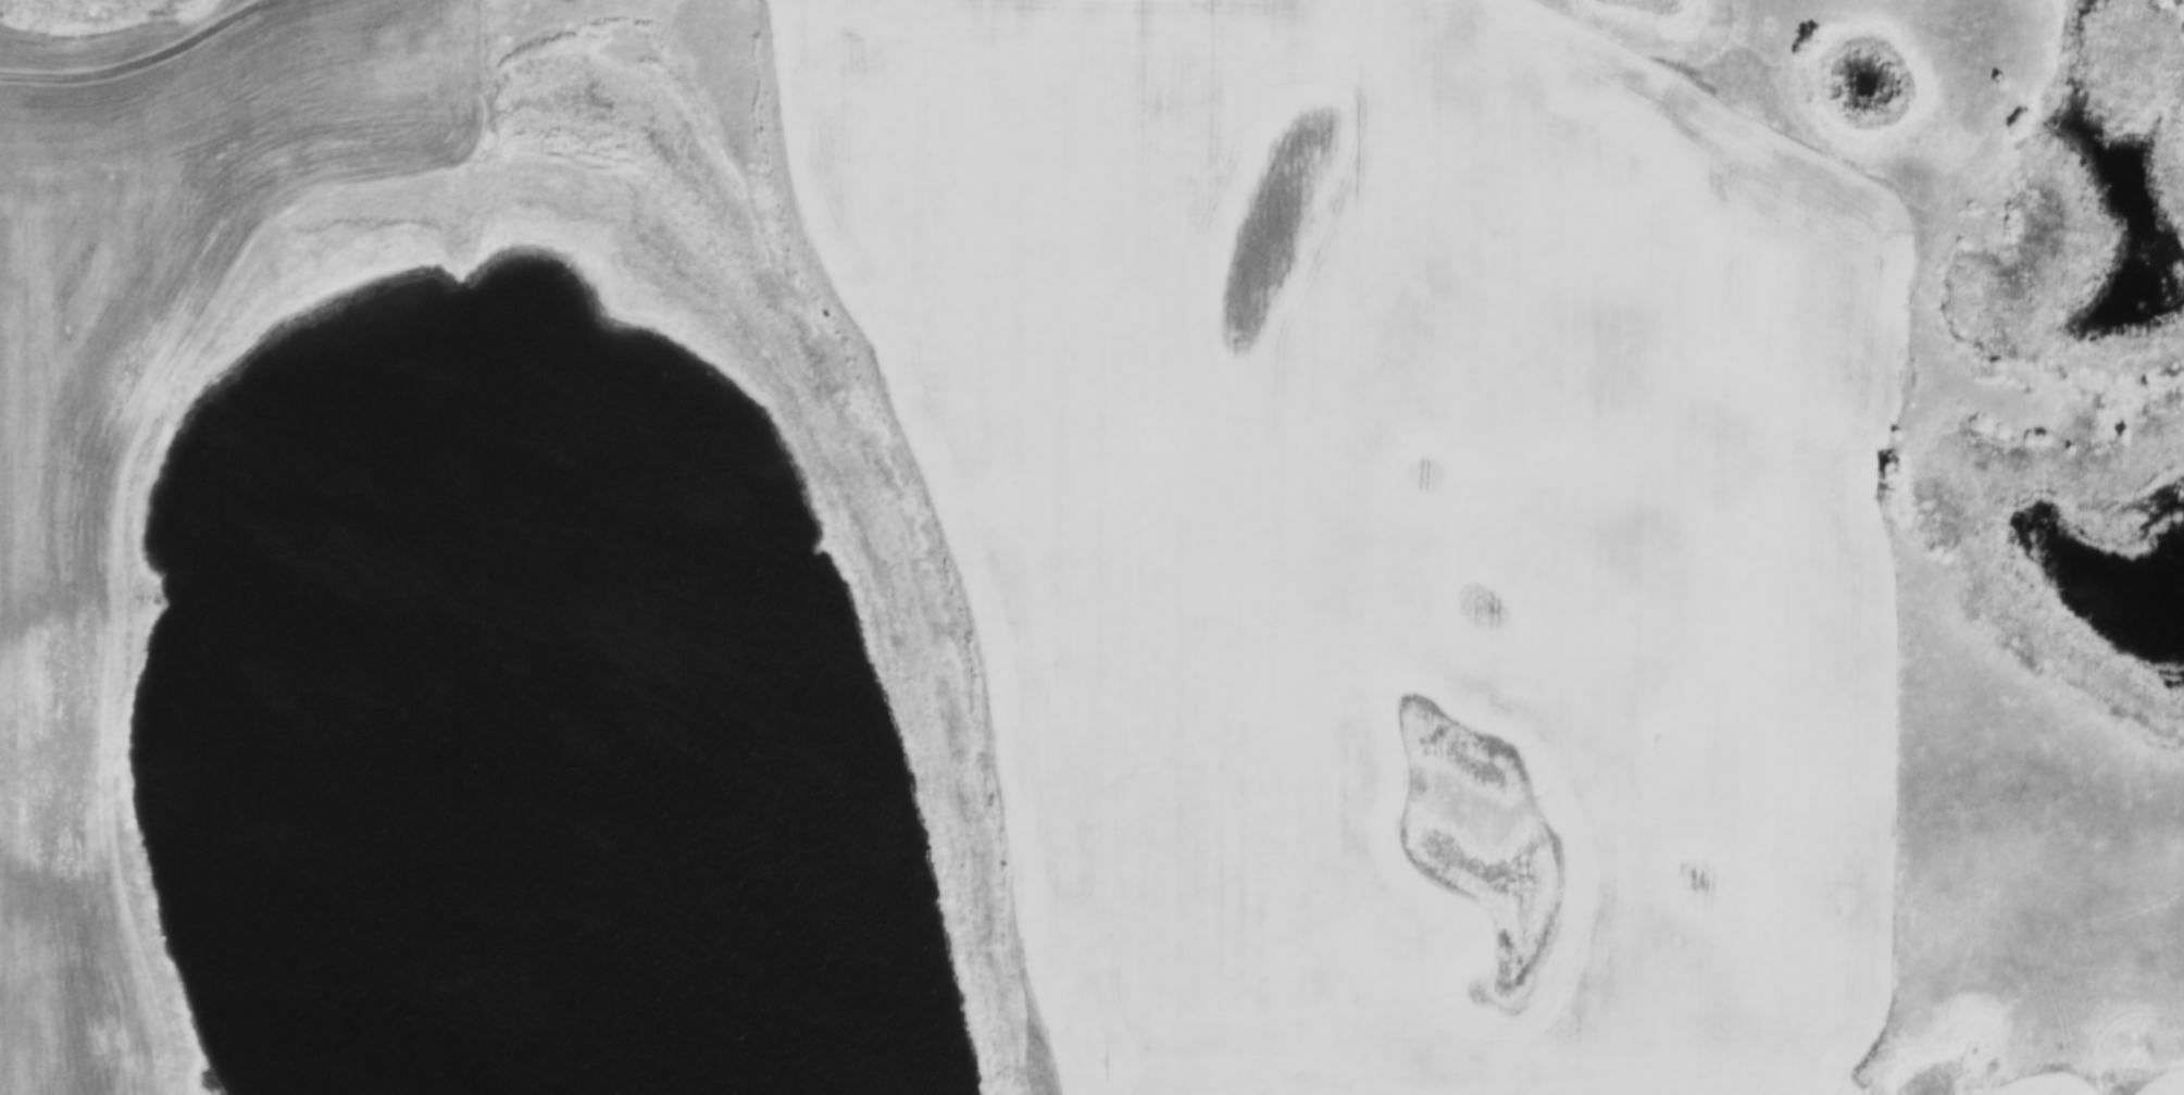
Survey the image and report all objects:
road: (152, 72)

